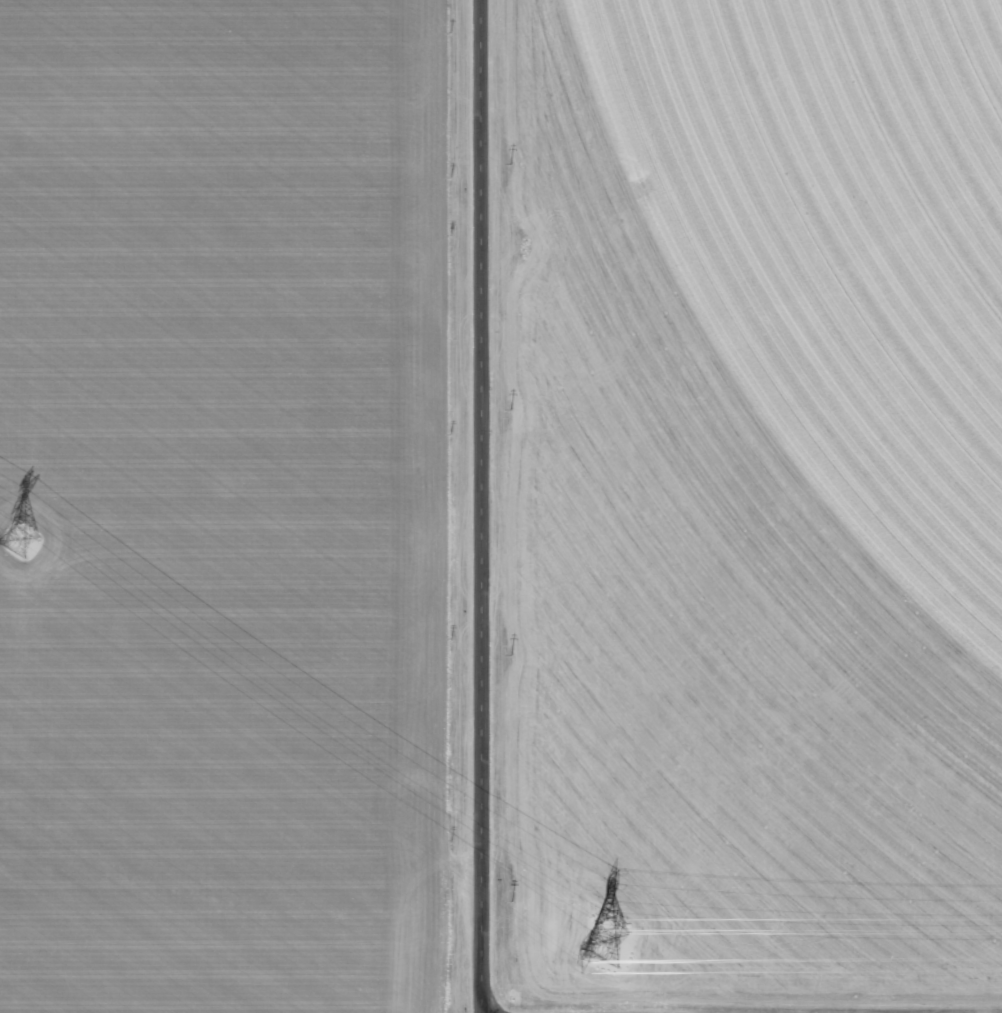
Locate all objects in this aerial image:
road: (484, 506)
power tower: (22, 544)
power tower: (608, 947)

